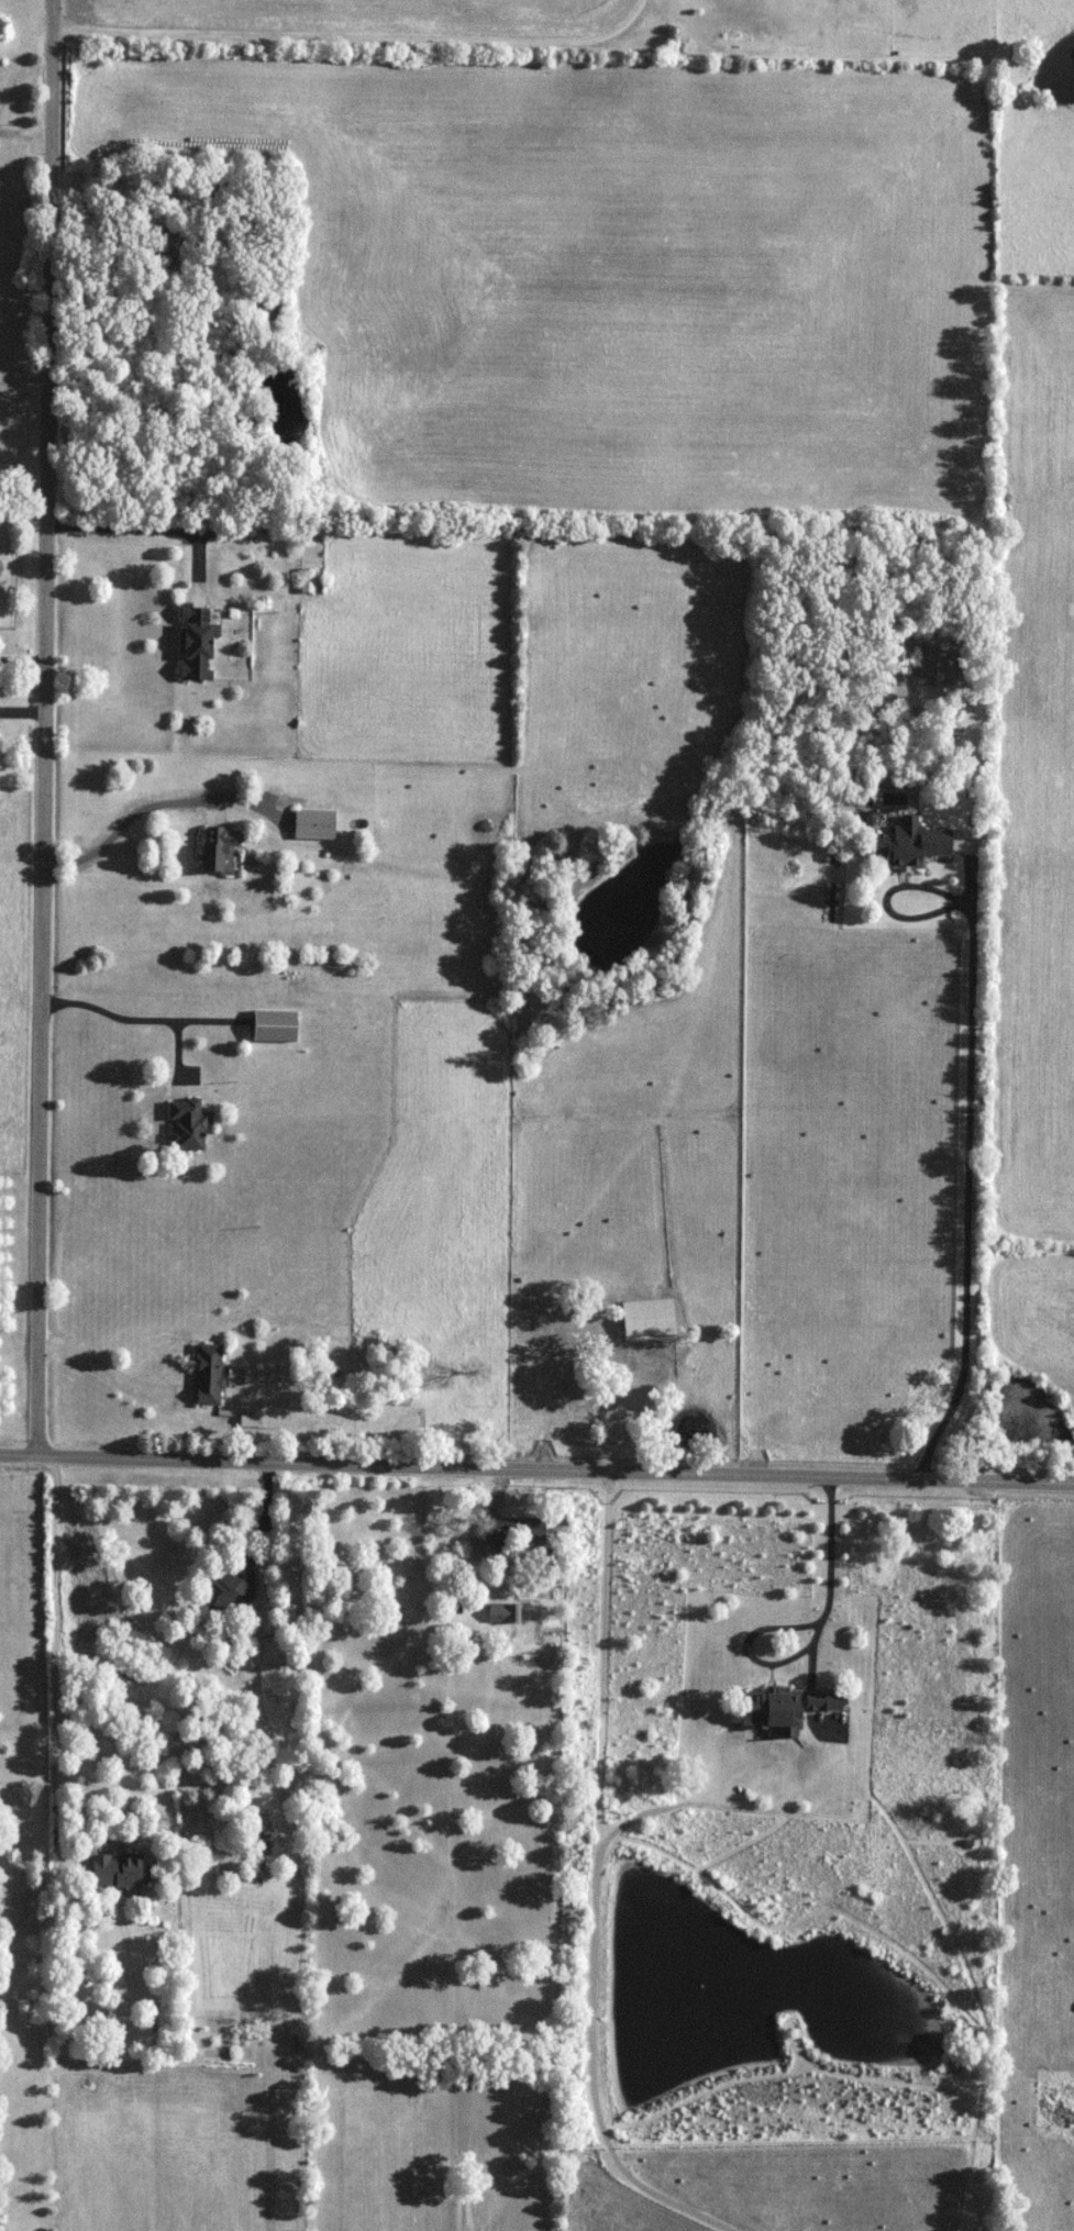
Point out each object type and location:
road: (352, 34)
road: (16, 73)
building: (167, 249)
building: (268, 310)
road: (22, 492)
road: (143, 530)
building: (308, 579)
building: (197, 641)
road: (21, 657)
building: (901, 662)
building: (934, 664)
road: (42, 732)
road: (130, 815)
building: (315, 823)
building: (912, 842)
building: (214, 848)
road: (133, 1017)
building: (276, 1026)
road: (967, 1107)
building: (188, 1124)
building: (650, 1319)
road: (109, 1368)
building: (209, 1374)
road: (536, 1478)
building: (517, 1531)
road: (830, 1573)
building: (232, 1588)
building: (506, 1612)
building: (269, 1651)
road: (55, 1663)
building: (787, 1705)
building: (119, 1871)

